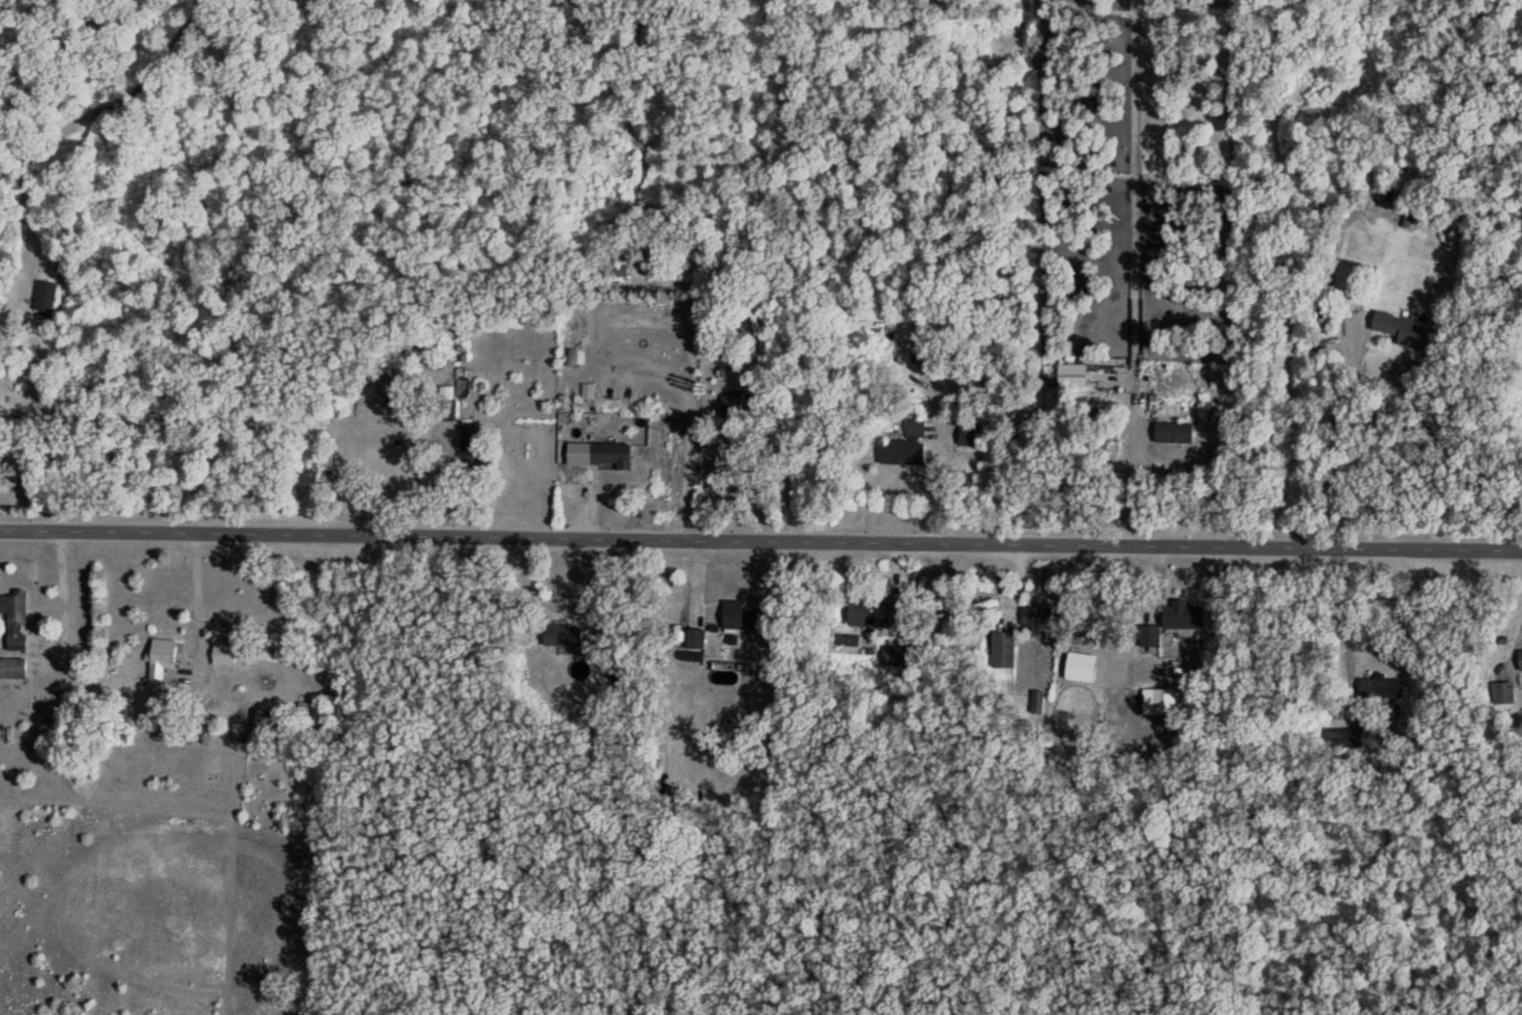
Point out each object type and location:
building: (1373, 191)
building: (46, 297)
building: (1401, 330)
building: (1072, 376)
building: (391, 388)
building: (447, 403)
building: (731, 405)
road: (687, 414)
building: (971, 431)
building: (1173, 433)
road: (1331, 433)
building: (907, 445)
building: (472, 448)
building: (612, 454)
road: (788, 460)
road: (945, 472)
road: (1129, 482)
road: (760, 533)
road: (64, 596)
road: (1343, 599)
road: (201, 610)
building: (874, 614)
building: (741, 617)
building: (1186, 617)
building: (15, 619)
building: (1035, 619)
building: (563, 636)
building: (1150, 636)
building: (163, 657)
building: (1521, 657)
building: (13, 668)
building: (1389, 688)
building: (1502, 693)
building: (1158, 701)
building: (263, 731)

